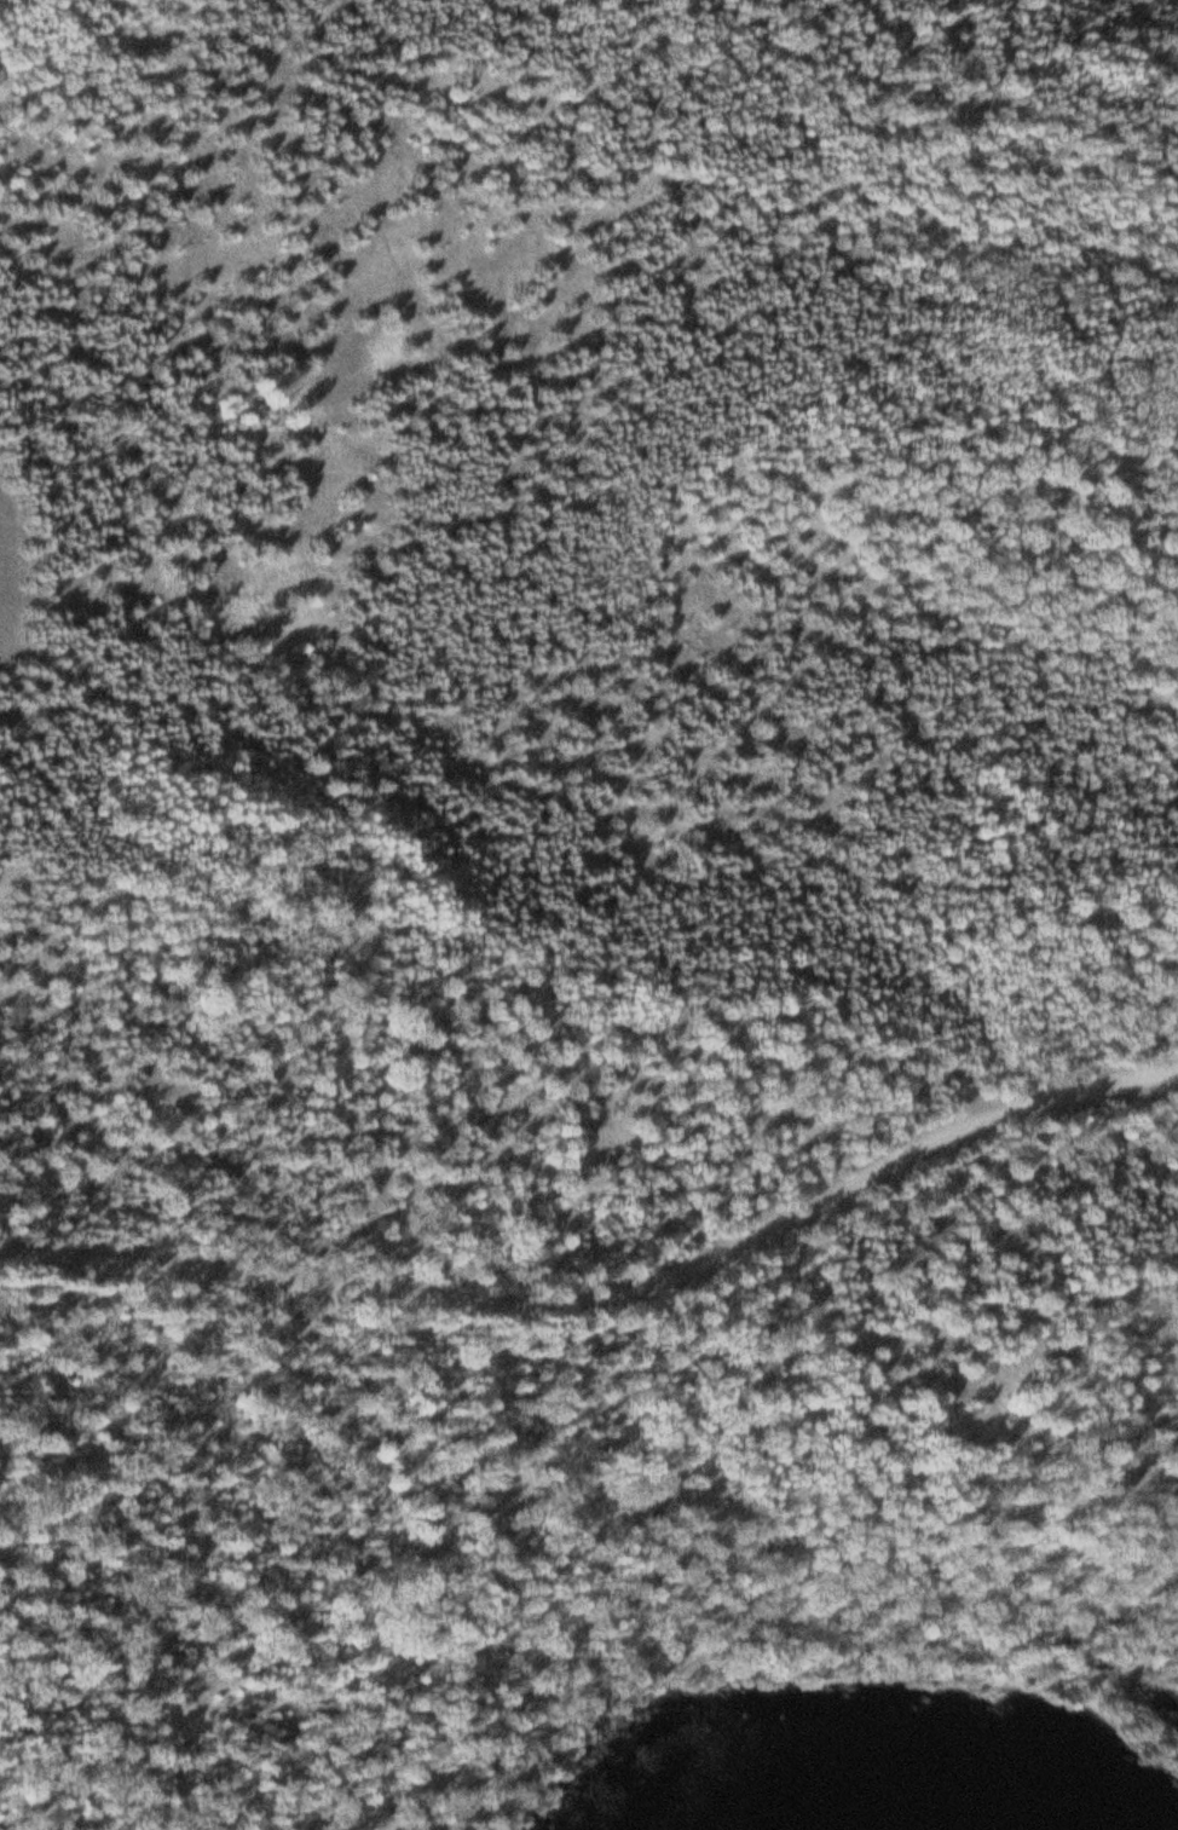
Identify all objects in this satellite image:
road: (607, 1287)

